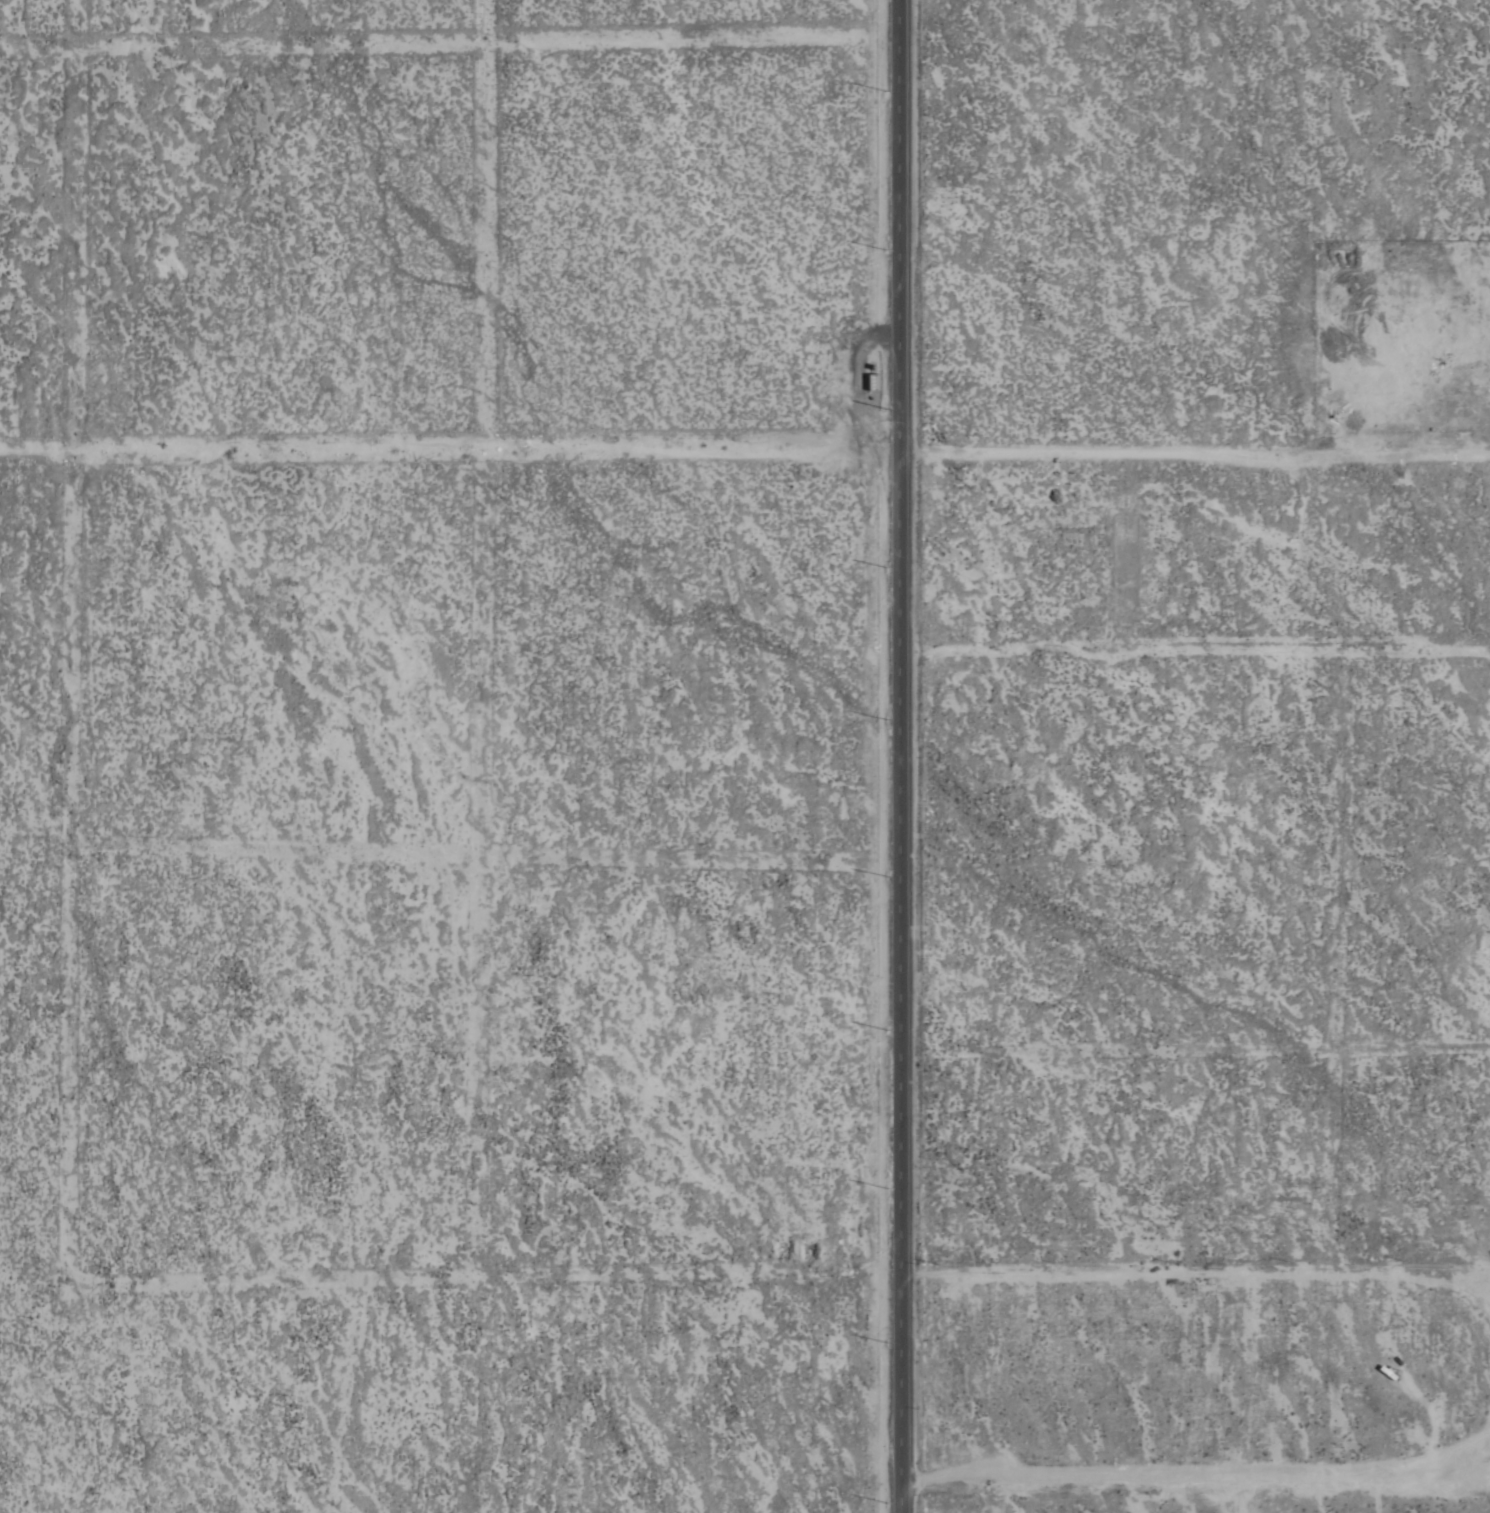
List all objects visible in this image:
road: (901, 756)
road: (1198, 1272)
road: (1200, 1478)

